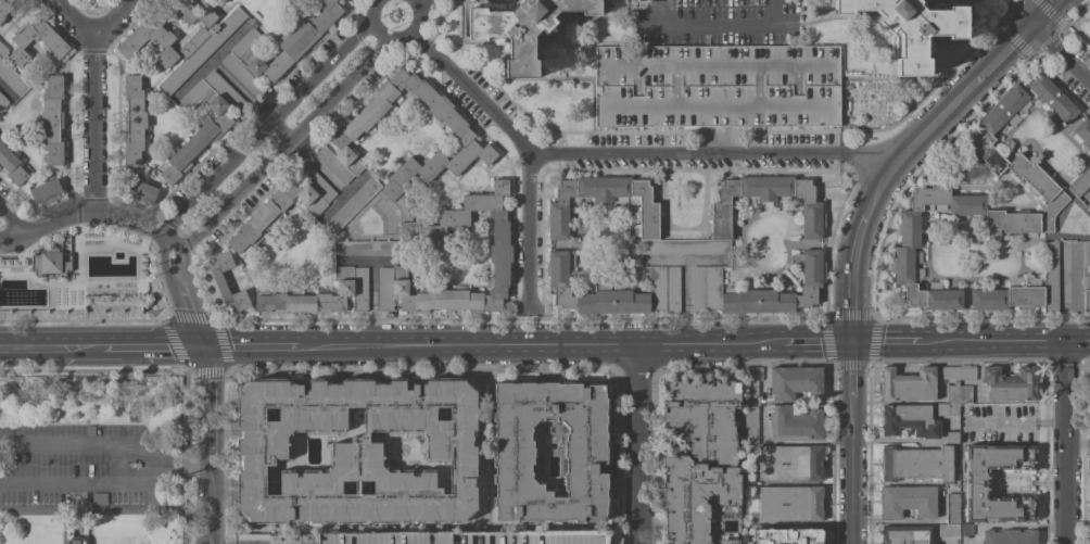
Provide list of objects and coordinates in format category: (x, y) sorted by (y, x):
road: (421, 5)
building: (4, 8)
road: (1017, 12)
road: (1042, 12)
building: (195, 13)
road: (112, 18)
traffic signals: (1030, 25)
road: (649, 26)
road: (717, 26)
building: (910, 27)
building: (522, 28)
road: (393, 37)
building: (37, 41)
building: (131, 43)
building: (201, 49)
building: (293, 49)
road: (1060, 54)
building: (11, 75)
building: (717, 86)
parking lot: (717, 86)
road: (962, 92)
road: (91, 97)
building: (1051, 98)
road: (248, 101)
building: (2, 102)
building: (52, 118)
building: (134, 119)
road: (265, 125)
building: (210, 131)
building: (1083, 132)
road: (283, 142)
road: (626, 152)
building: (11, 165)
building: (1080, 181)
building: (391, 189)
building: (1089, 189)
building: (141, 190)
building: (46, 192)
road: (870, 202)
building: (1088, 204)
building: (284, 205)
building: (351, 206)
building: (975, 206)
building: (645, 216)
road: (126, 219)
road: (13, 220)
road: (43, 225)
road: (528, 226)
building: (369, 248)
building: (49, 263)
road: (185, 273)
building: (1078, 275)
road: (167, 280)
building: (223, 282)
building: (1024, 289)
building: (613, 290)
building: (756, 290)
building: (321, 295)
road: (851, 296)
road: (371, 304)
road: (543, 317)
road: (83, 318)
road: (207, 318)
road: (515, 319)
road: (194, 332)
road: (807, 344)
traffic signals: (850, 344)
road: (927, 344)
road: (66, 345)
road: (165, 345)
traffic signals: (199, 345)
road: (239, 345)
road: (522, 345)
road: (1048, 345)
road: (180, 369)
road: (420, 369)
building: (950, 372)
building: (967, 374)
building: (751, 380)
building: (795, 381)
building: (1010, 383)
building: (908, 384)
building: (952, 392)
building: (964, 394)
road: (850, 398)
building: (947, 408)
building: (909, 420)
road: (1014, 421)
building: (795, 423)
building: (751, 426)
building: (90, 430)
building: (951, 437)
road: (207, 444)
road: (1063, 444)
road: (638, 445)
building: (357, 451)
building: (584, 452)
park: (91, 457)
building: (789, 463)
building: (915, 463)
building: (701, 464)
road: (150, 465)
road: (179, 466)
parking lot: (75, 468)
building: (976, 483)
road: (75, 496)
building: (99, 498)
road: (851, 498)
building: (907, 501)
building: (789, 503)
road: (30, 506)
road: (137, 506)
road: (74, 507)
building: (951, 507)
road: (1021, 524)
building: (953, 529)
building: (907, 534)
building: (788, 536)
building: (1009, 536)
building: (464, 539)
parking garage: (464, 539)
building: (75, 541)

